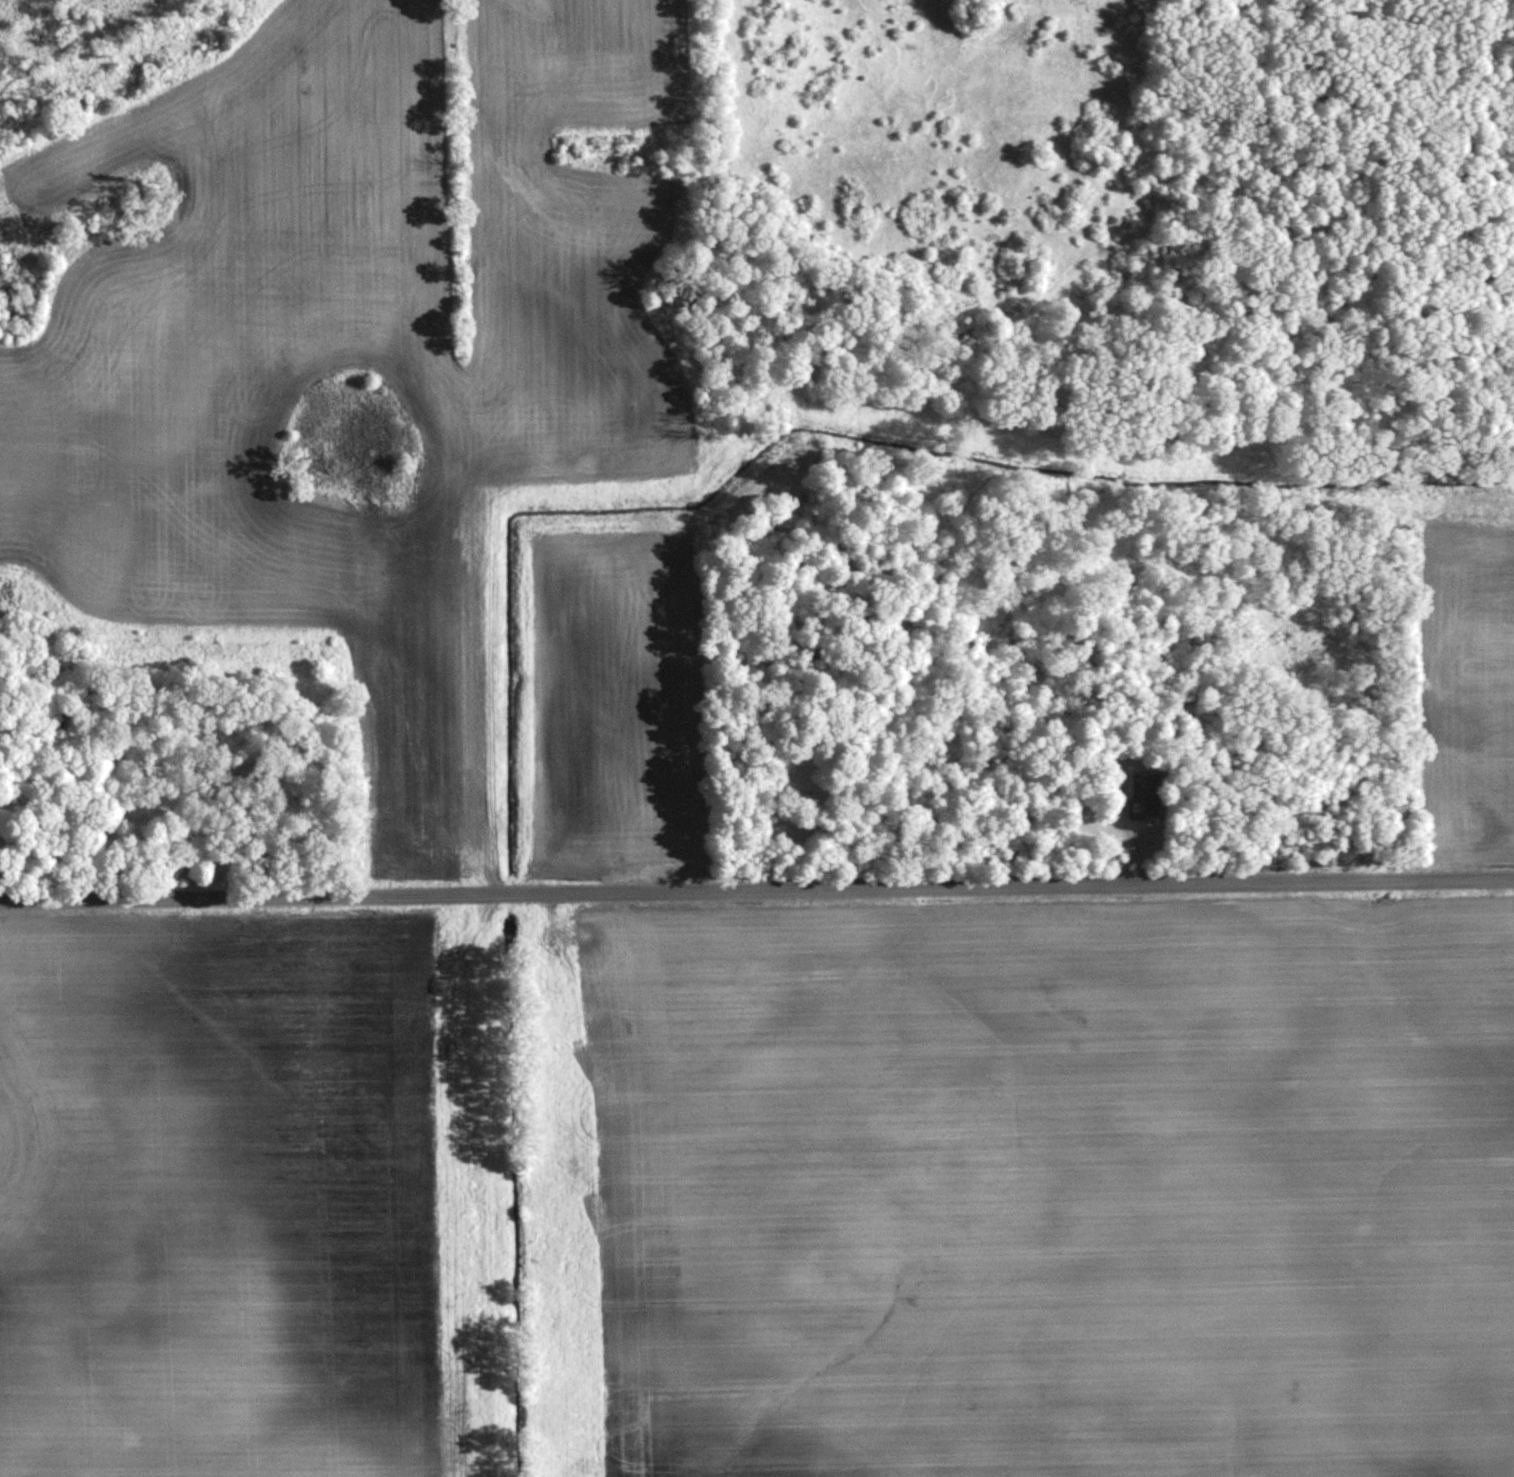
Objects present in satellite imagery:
building: (1142, 792)
road: (757, 891)

